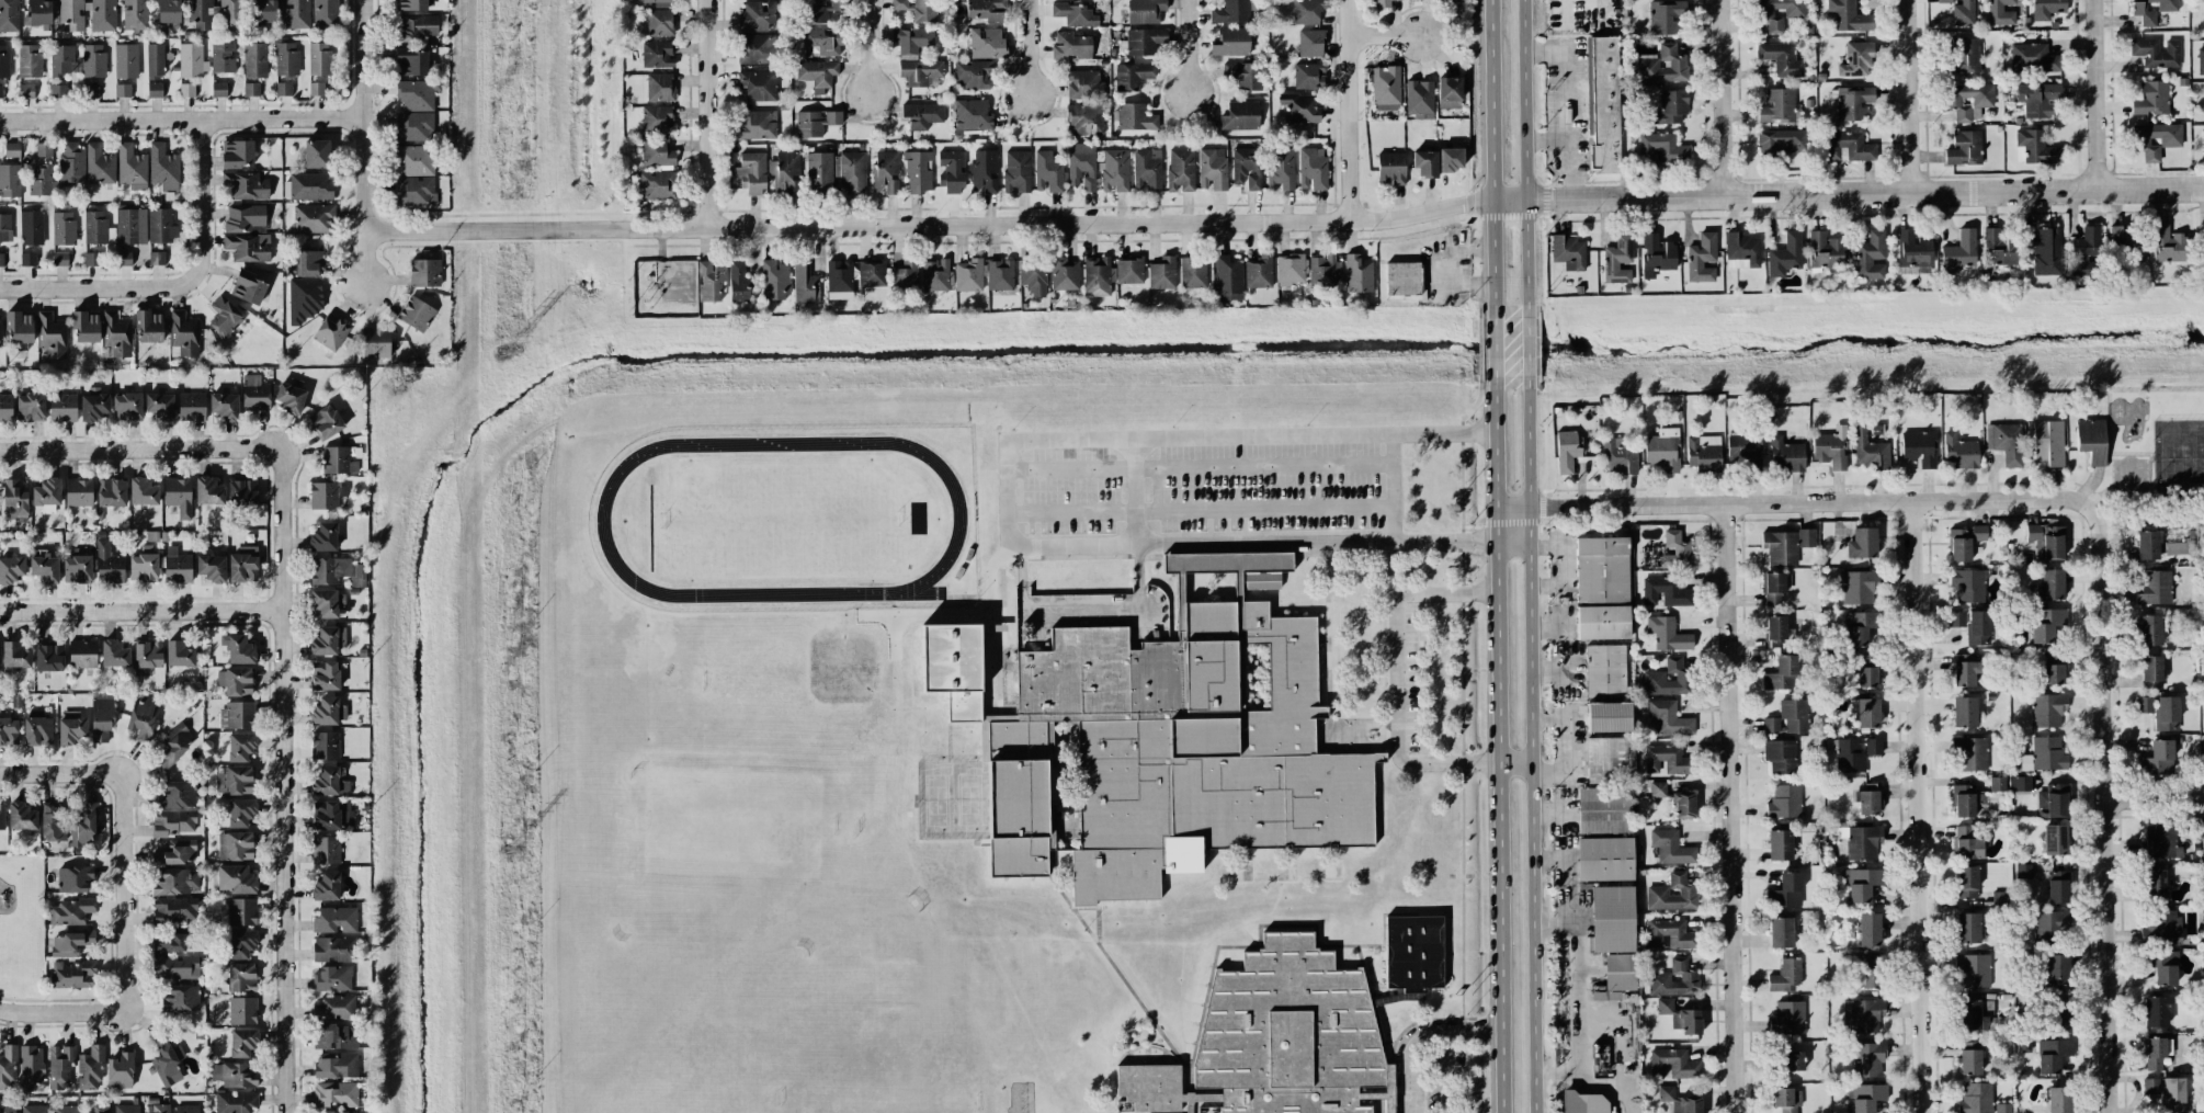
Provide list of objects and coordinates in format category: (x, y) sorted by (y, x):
building: (1398, 0)
building: (655, 1)
building: (1944, 1)
building: (1382, 3)
building: (410, 4)
building: (916, 9)
building: (2046, 9)
building: (821, 10)
building: (985, 10)
building: (168, 11)
building: (264, 11)
building: (1145, 11)
building: (1231, 11)
building: (1306, 11)
building: (37, 12)
building: (1779, 12)
building: (2000, 12)
building: (229, 13)
building: (296, 13)
building: (1963, 13)
building: (2143, 13)
building: (201, 14)
building: (326, 14)
building: (1073, 14)
building: (9, 15)
building: (69, 15)
building: (102, 15)
building: (135, 15)
building: (1848, 15)
building: (757, 16)
building: (1666, 16)
building: (659, 22)
building: (417, 29)
road: (1385, 34)
building: (1144, 41)
building: (1231, 42)
building: (987, 43)
building: (1310, 43)
building: (1071, 46)
road: (1190, 47)
building: (756, 48)
road: (1029, 48)
road: (868, 49)
building: (2155, 53)
building: (657, 54)
building: (916, 56)
building: (1963, 56)
building: (223, 57)
building: (2033, 57)
building: (286, 58)
building: (318, 58)
building: (1781, 58)
building: (1855, 59)
building: (29, 60)
building: (63, 60)
building: (93, 60)
building: (125, 60)
building: (192, 60)
building: (254, 60)
building: (2200, 60)
building: (3, 61)
building: (155, 61)
building: (411, 61)
building: (1662, 65)
building: (816, 72)
building: (973, 75)
building: (1243, 75)
building: (1132, 76)
building: (1308, 76)
building: (758, 84)
building: (1084, 84)
building: (659, 87)
building: (1385, 88)
building: (186, 89)
building: (218, 89)
building: (251, 89)
building: (283, 89)
building: (58, 90)
building: (90, 90)
building: (122, 90)
building: (155, 90)
building: (0, 91)
building: (25, 91)
building: (1448, 92)
road: (2095, 93)
building: (417, 94)
building: (1419, 96)
road: (1911, 96)
road: (1722, 98)
building: (2151, 98)
building: (2037, 99)
building: (1852, 102)
building: (1604, 104)
building: (1777, 106)
building: (1299, 107)
road: (1564, 107)
building: (1670, 107)
road: (1348, 111)
road: (708, 114)
building: (921, 114)
building: (972, 115)
road: (181, 116)
building: (1240, 116)
building: (1135, 117)
building: (657, 118)
building: (1084, 118)
building: (815, 122)
building: (757, 125)
building: (413, 126)
building: (2203, 137)
road: (1544, 139)
building: (1781, 140)
building: (2156, 140)
road: (364, 144)
building: (1847, 146)
building: (2036, 147)
building: (1660, 148)
building: (1964, 148)
building: (11, 149)
building: (43, 149)
building: (657, 151)
building: (237, 154)
building: (316, 154)
road: (1489, 158)
building: (416, 159)
building: (1450, 159)
road: (1523, 159)
building: (71, 162)
building: (1424, 163)
building: (99, 164)
building: (1082, 166)
building: (130, 167)
building: (163, 167)
building: (1246, 168)
building: (1311, 168)
building: (1390, 168)
building: (1147, 169)
building: (1280, 169)
building: (1114, 170)
building: (1180, 170)
building: (1212, 170)
building: (850, 171)
building: (885, 171)
building: (918, 171)
building: (951, 171)
building: (984, 171)
building: (1016, 171)
building: (786, 172)
building: (819, 172)
building: (1048, 172)
building: (750, 173)
building: (9, 180)
building: (38, 181)
building: (245, 184)
building: (655, 184)
building: (308, 185)
building: (414, 191)
building: (245, 218)
building: (313, 218)
road: (1285, 223)
building: (130, 226)
building: (161, 226)
building: (5, 228)
building: (31, 228)
building: (63, 228)
building: (93, 235)
building: (2126, 241)
building: (2170, 245)
building: (247, 247)
building: (1999, 248)
building: (1825, 250)
building: (1742, 251)
building: (2044, 251)
building: (1568, 252)
building: (1913, 252)
building: (1958, 252)
building: (2084, 252)
building: (1785, 254)
building: (1657, 255)
building: (1871, 255)
building: (156, 258)
building: (1701, 258)
building: (1, 259)
building: (26, 259)
building: (59, 259)
building: (123, 259)
building: (1617, 260)
building: (309, 262)
building: (1290, 269)
building: (1323, 269)
building: (1258, 271)
building: (424, 272)
building: (871, 272)
building: (1192, 272)
building: (1064, 273)
building: (1161, 273)
building: (1357, 273)
building: (935, 274)
building: (984, 274)
building: (1109, 274)
building: (905, 275)
building: (1033, 275)
building: (839, 276)
building: (1227, 279)
building: (1401, 279)
building: (709, 280)
building: (774, 280)
building: (738, 282)
building: (804, 283)
road: (181, 284)
building: (249, 287)
building: (304, 298)
building: (416, 314)
building: (224, 316)
building: (148, 326)
building: (19, 327)
building: (86, 327)
building: (0, 331)
building: (330, 331)
building: (183, 332)
building: (116, 333)
building: (50, 334)
building: (375, 342)
power tower: (507, 353)
road: (1492, 353)
road: (1526, 353)
building: (254, 394)
building: (289, 398)
building: (93, 405)
building: (126, 406)
building: (159, 406)
building: (191, 406)
building: (225, 406)
building: (5, 407)
building: (30, 407)
building: (63, 407)
building: (326, 421)
road: (1195, 436)
building: (2091, 440)
building: (2006, 442)
building: (2048, 442)
road: (133, 447)
building: (1919, 447)
building: (1662, 450)
building: (1743, 450)
building: (1830, 450)
building: (1868, 450)
building: (1566, 451)
building: (1961, 451)
building: (1703, 453)
building: (1785, 455)
building: (1618, 456)
building: (338, 461)
road: (1200, 467)
road: (1394, 487)
building: (143, 491)
building: (208, 491)
building: (78, 492)
building: (111, 492)
building: (46, 493)
building: (241, 493)
building: (326, 495)
building: (178, 496)
building: (14, 499)
road: (1793, 502)
road: (1200, 510)
track: (957, 520)
road: (1136, 523)
building: (323, 537)
building: (1806, 537)
building: (2046, 538)
road: (1512, 541)
building: (1964, 542)
road: (1250, 543)
building: (1862, 543)
building: (2157, 546)
building: (1780, 547)
building: (1675, 550)
building: (107, 560)
building: (144, 565)
road: (1561, 565)
building: (44, 567)
building: (177, 568)
building: (212, 568)
building: (242, 568)
building: (11, 569)
building: (77, 569)
building: (1601, 569)
building: (336, 570)
road: (1022, 578)
building: (1966, 584)
building: (2050, 584)
building: (1859, 587)
building: (2155, 588)
building: (1773, 589)
building: (1665, 592)
building: (328, 603)
road: (145, 610)
road: (1080, 611)
road: (957, 615)
building: (1602, 622)
road: (1549, 623)
building: (2046, 624)
building: (1973, 625)
building: (1860, 627)
building: (1774, 629)
building: (2149, 629)
building: (1668, 634)
building: (328, 640)
building: (239, 649)
building: (82, 654)
building: (114, 654)
building: (179, 654)
building: (14, 655)
building: (48, 657)
building: (147, 657)
building: (953, 668)
building: (2053, 669)
road: (1546, 670)
road: (1563, 670)
building: (1605, 670)
building: (1965, 670)
building: (2150, 671)
building: (1783, 673)
building: (325, 674)
building: (1867, 677)
road: (1396, 678)
building: (1667, 678)
building: (236, 681)
building: (2144, 704)
building: (2047, 709)
building: (327, 712)
building: (1864, 712)
building: (1964, 712)
building: (2167, 713)
building: (237, 714)
building: (143, 715)
building: (1794, 715)
building: (1611, 717)
building: (1669, 717)
road: (1547, 719)
building: (100, 720)
building: (1771, 725)
building: (70, 727)
building: (8, 730)
building: (37, 730)
road: (1359, 735)
building: (325, 746)
building: (1873, 746)
building: (239, 747)
road: (1531, 750)
road: (1495, 752)
building: (1170, 753)
building: (1969, 753)
building: (2048, 753)
building: (1781, 756)
building: (1850, 756)
road: (1564, 757)
building: (2157, 759)
building: (1610, 760)
building: (1667, 760)
road: (1513, 764)
road: (292, 769)
road: (88, 771)
building: (234, 780)
building: (329, 782)
building: (2020, 783)
building: (1997, 784)
building: (1658, 788)
building: (177, 795)
road: (2152, 797)
building: (1867, 799)
building: (1784, 800)
building: (1965, 800)
building: (2053, 800)
building: (1683, 805)
road: (1917, 807)
road: (1731, 808)
road: (2102, 808)
building: (1603, 809)
building: (240, 813)
building: (330, 814)
building: (21, 816)
building: (1, 817)
building: (174, 821)
building: (53, 822)
building: (83, 828)
building: (2055, 839)
building: (2160, 842)
building: (1966, 843)
building: (1779, 844)
building: (235, 845)
building: (1671, 848)
building: (325, 850)
power tower: (514, 852)
building: (177, 853)
building: (1603, 859)
building: (2023, 871)
building: (73, 878)
building: (236, 879)
building: (177, 882)
building: (1966, 882)
building: (1861, 884)
building: (2154, 884)
building: (326, 886)
building: (2058, 887)
building: (1657, 890)
building: (1786, 890)
building: (174, 909)
building: (70, 911)
building: (241, 911)
road: (129, 912)
building: (1611, 919)
building: (334, 920)
building: (2052, 922)
building: (2162, 927)
building: (1967, 928)
building: (1868, 930)
building: (1781, 932)
building: (1669, 934)
building: (69, 943)
building: (173, 943)
building: (241, 943)
building: (333, 949)
building: (1413, 953)
building: (2162, 966)
building: (175, 967)
building: (1973, 969)
building: (2056, 969)
building: (1621, 972)
building: (1867, 972)
building: (72, 974)
building: (1785, 975)
building: (1658, 976)
building: (241, 977)
building: (331, 978)
building: (1610, 995)
road: (1579, 997)
building: (181, 998)
building: (1663, 1006)
building: (334, 1007)
road: (65, 1009)
building: (242, 1010)
building: (2156, 1011)
building: (1969, 1014)
building: (1863, 1015)
building: (1788, 1018)
building: (1686, 1020)
building: (2058, 1021)
road: (1412, 1032)
building: (334, 1036)
building: (1273, 1037)
building: (241, 1043)
building: (2156, 1053)
building: (1969, 1057)
building: (2054, 1057)
building: (1868, 1058)
building: (167, 1060)
building: (1785, 1061)
building: (1672, 1064)
building: (30, 1066)
building: (337, 1066)
building: (8, 1067)
building: (60, 1067)
building: (90, 1068)
building: (120, 1070)
road: (1445, 1071)
building: (232, 1075)
building: (2150, 1086)
building: (336, 1094)
building: (2172, 1094)
building: (1865, 1095)
building: (1786, 1099)
building: (1976, 1099)
building: (2057, 1100)
building: (235, 1101)
building: (1680, 1101)
building: (1582, 1102)
building: (157, 1108)
building: (2002, 1108)
building: (7, 1109)
building: (34, 1109)
building: (65, 1109)
building: (100, 1109)
building: (126, 1109)
building: (186, 1109)
building: (334, 1111)
road: (1207, 1112)

